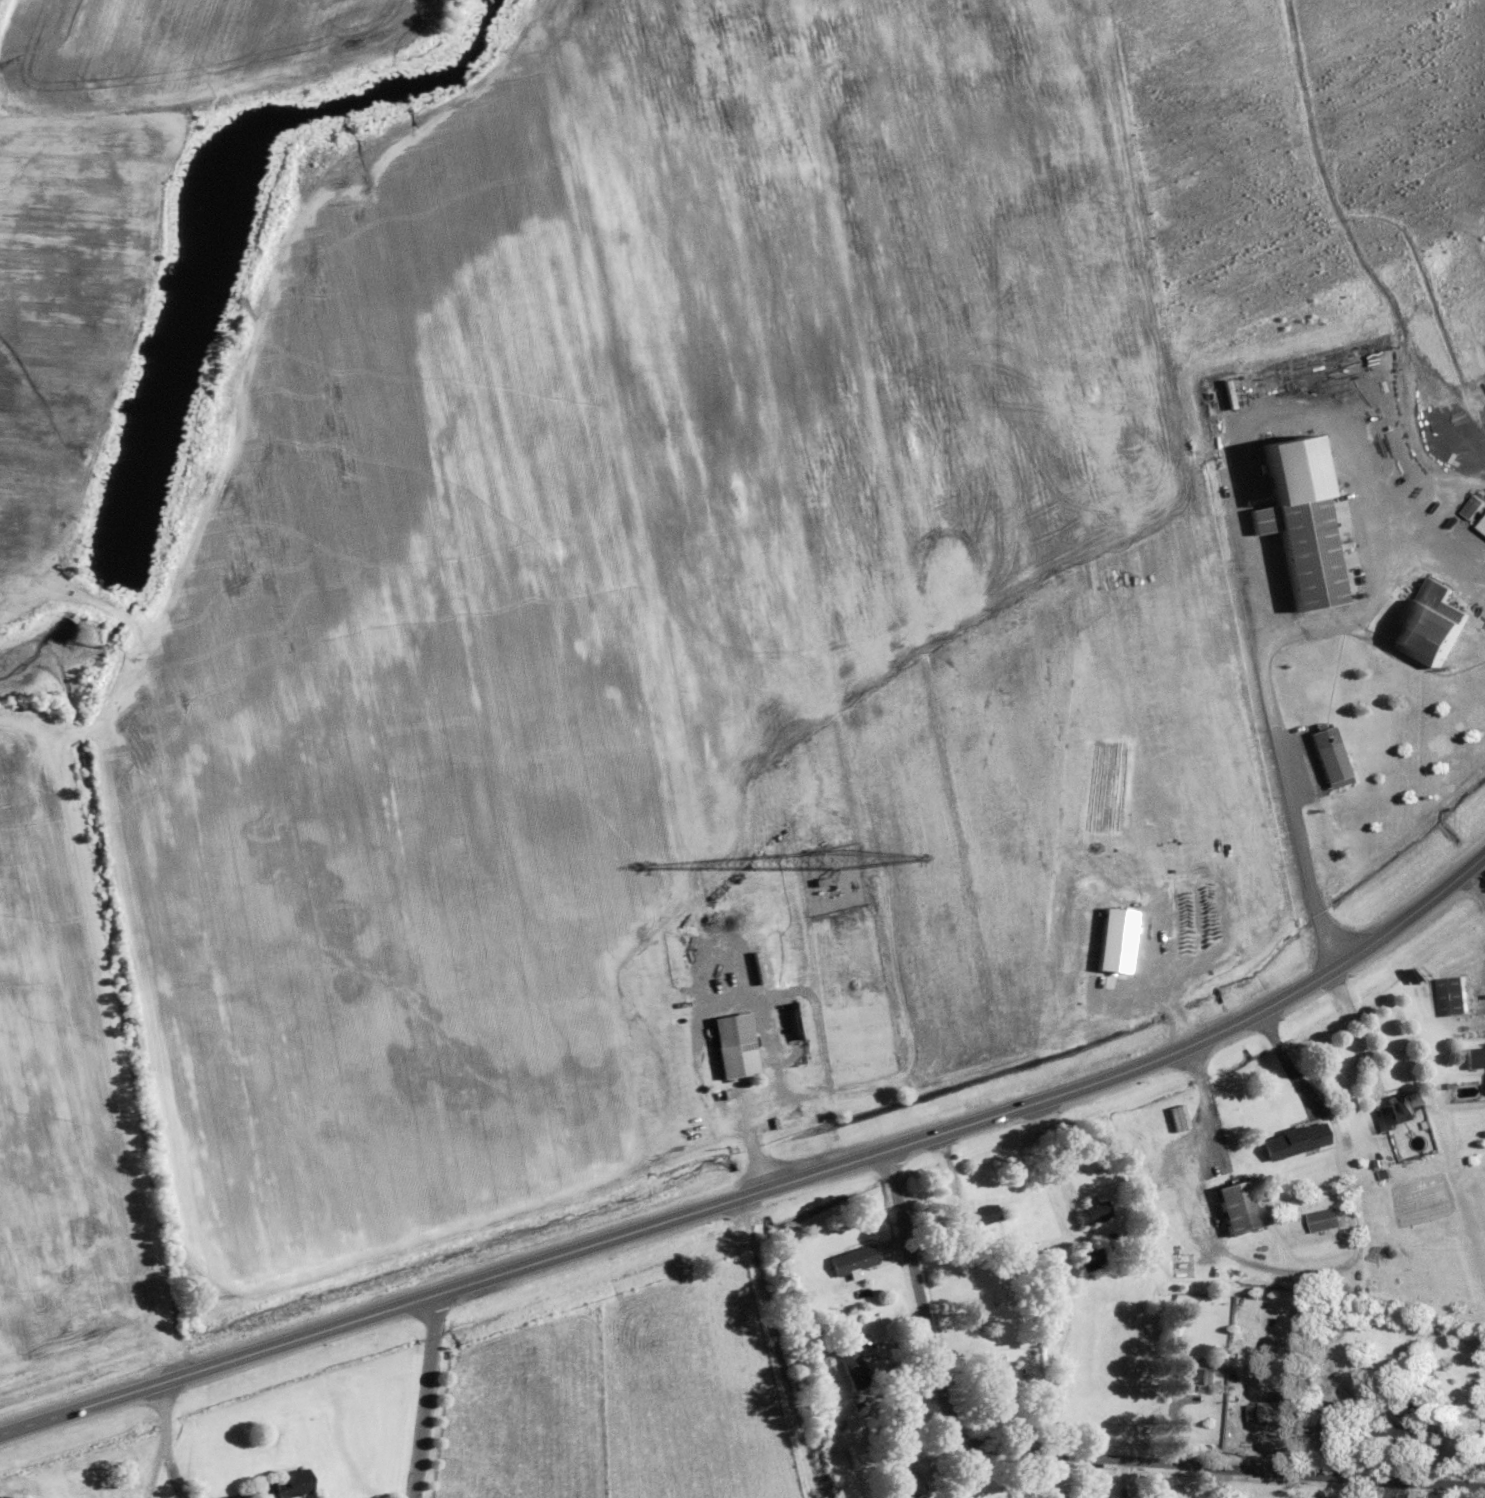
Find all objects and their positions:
road: (1266, 425)
building: (1467, 509)
building: (1293, 521)
road: (1446, 565)
road: (1350, 613)
building: (1427, 624)
building: (1328, 756)
road: (1294, 804)
road: (1480, 888)
building: (1452, 995)
road: (1355, 1034)
building: (732, 1044)
building: (1472, 1057)
building: (1392, 1110)
building: (1290, 1140)
road: (763, 1187)
building: (1237, 1205)
building: (1089, 1210)
building: (976, 1215)
building: (1324, 1219)
building: (1086, 1256)
building: (851, 1259)
road: (1313, 1272)
road: (774, 1347)
building: (848, 1363)
building: (1194, 1375)
building: (1000, 1388)
road: (426, 1395)
building: (1274, 1411)
building: (1328, 1423)
building: (1387, 1435)
road: (158, 1441)
road: (1070, 1453)
building: (896, 1465)
road: (172, 1478)
building: (285, 1484)
building: (902, 1484)

